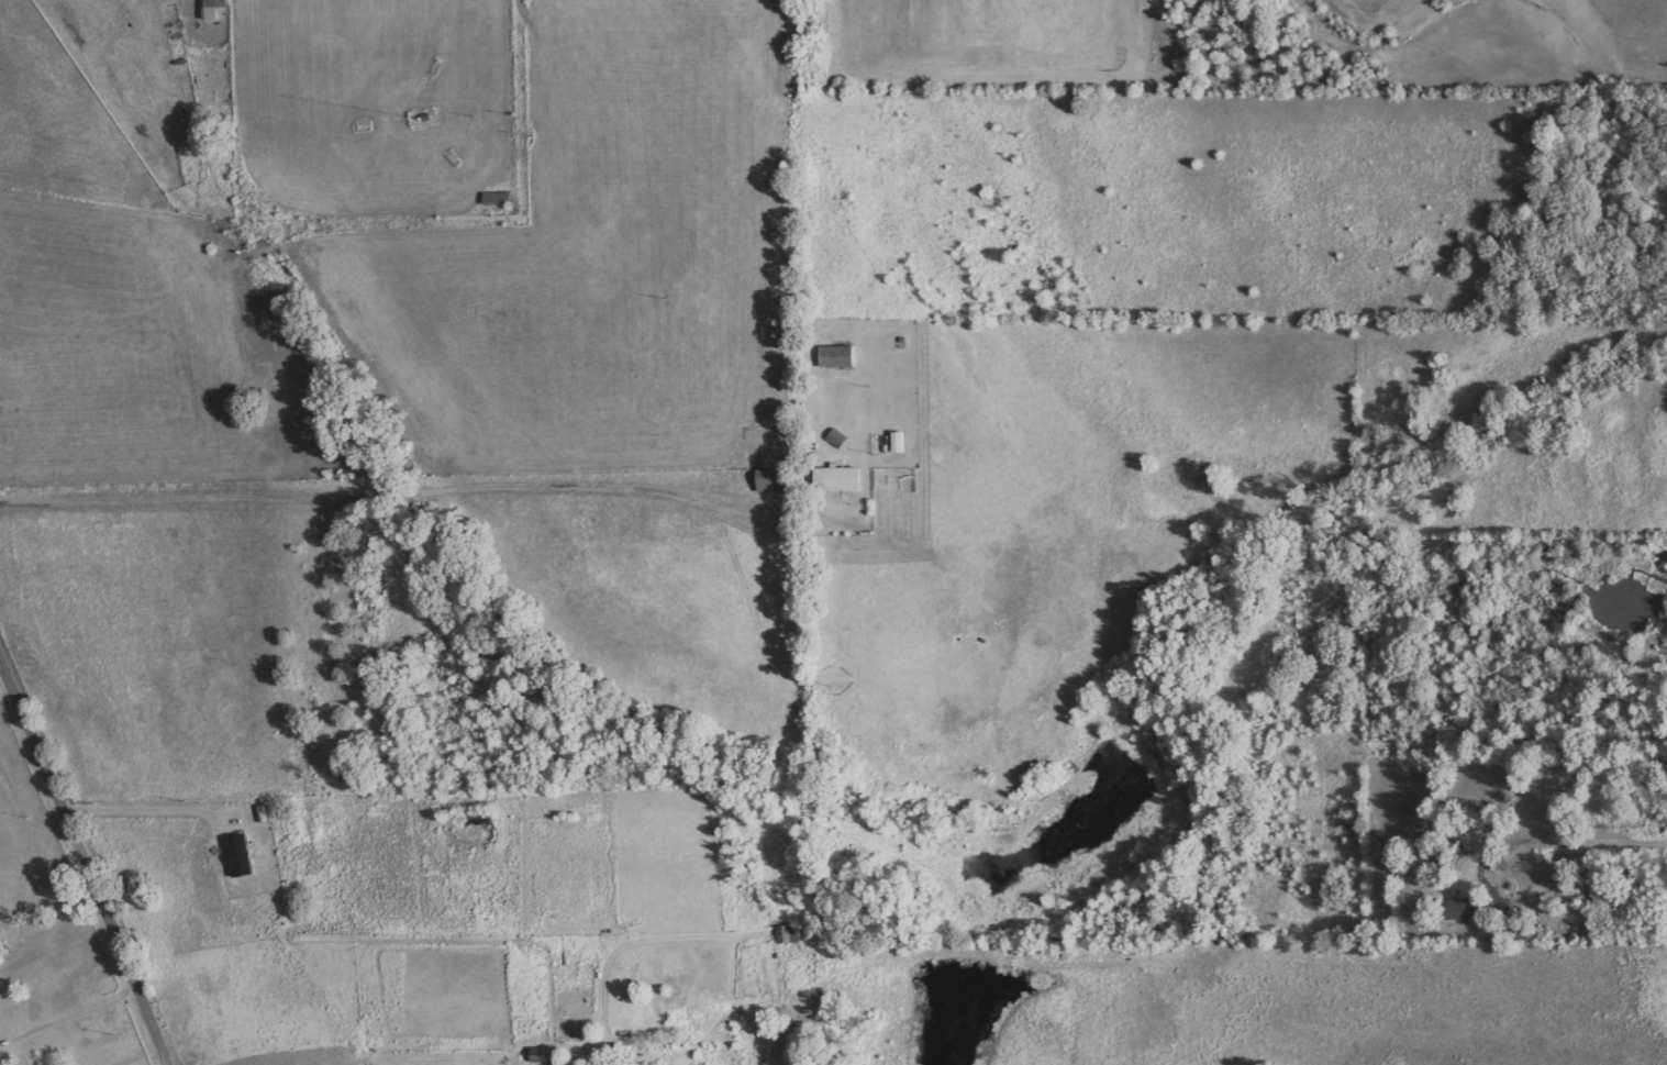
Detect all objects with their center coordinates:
building: (212, 8)
building: (498, 199)
building: (838, 357)
building: (837, 440)
building: (900, 442)
building: (840, 479)
building: (775, 480)
building: (241, 856)
road: (82, 866)
building: (1462, 910)
building: (1513, 921)
building: (789, 934)
building: (2, 1063)

